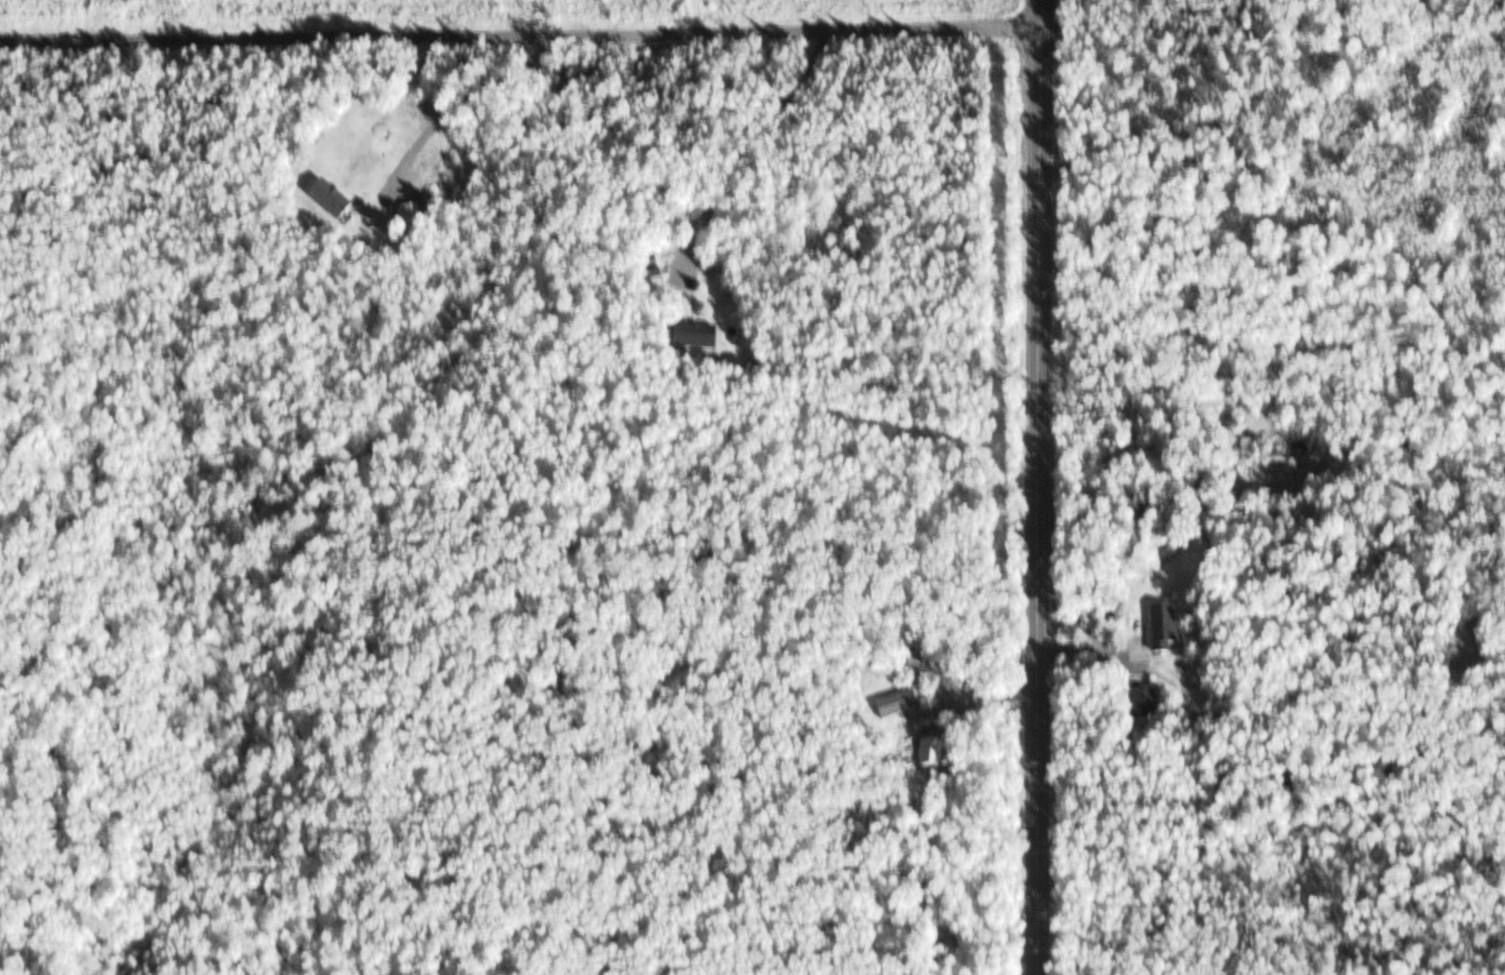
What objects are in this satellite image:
road: (522, 34)
building: (332, 201)
building: (412, 215)
building: (698, 338)
road: (1041, 487)
building: (1166, 629)
building: (1149, 704)
building: (898, 705)

